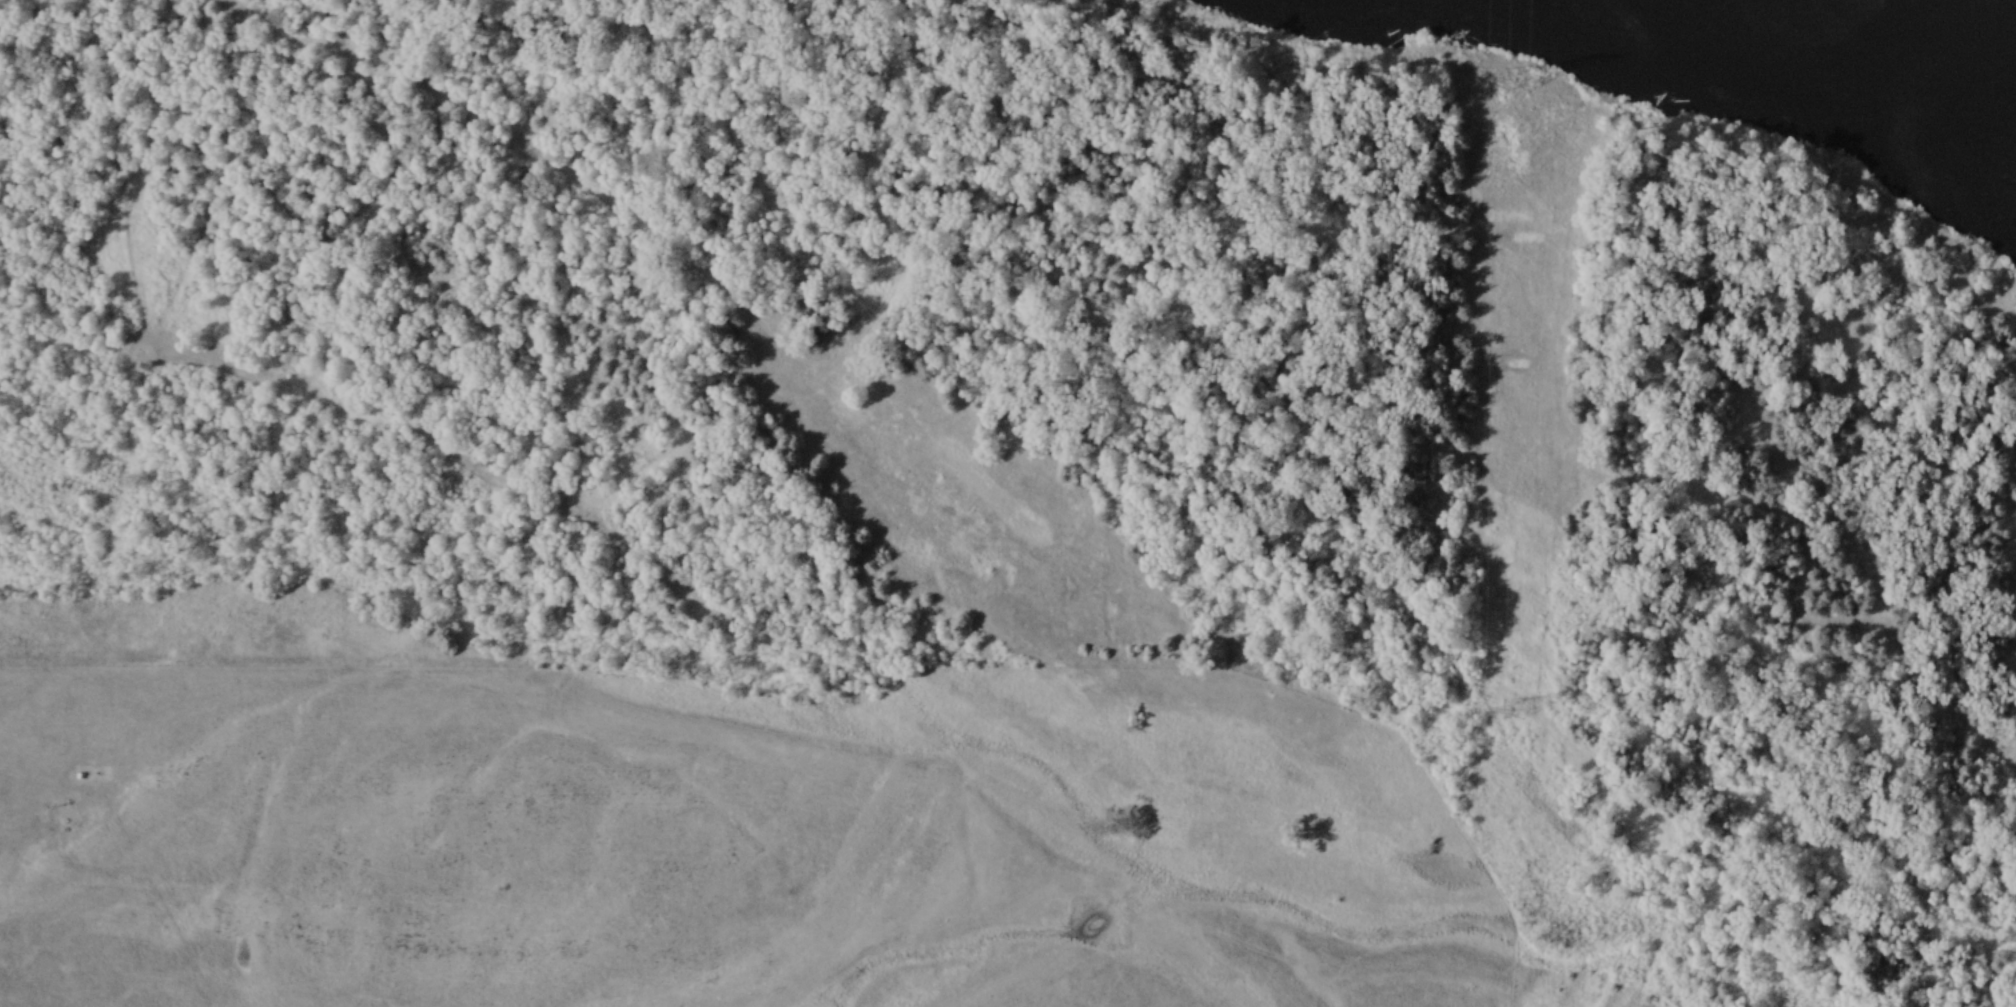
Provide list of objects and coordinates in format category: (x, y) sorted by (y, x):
river: (1947, 26)
power tower: (1514, 81)
power tower: (1513, 710)

